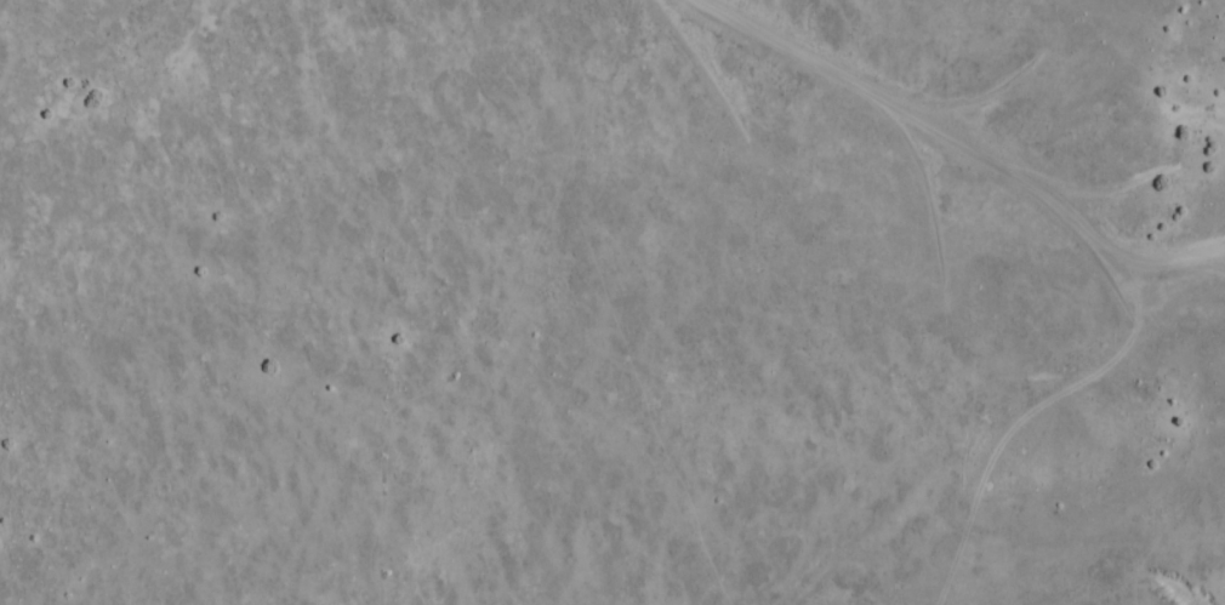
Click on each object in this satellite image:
road: (931, 147)

